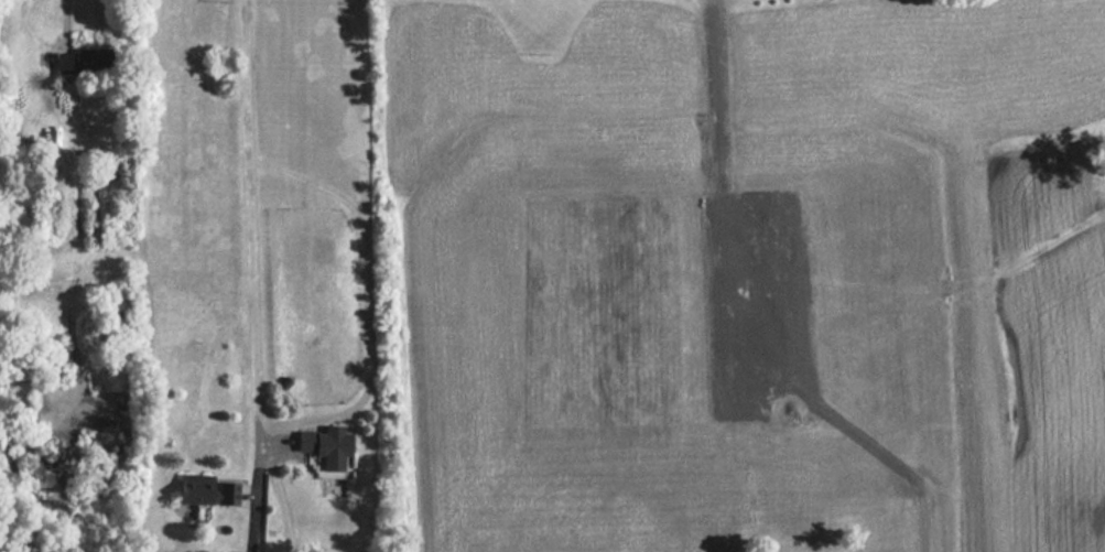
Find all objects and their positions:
road: (63, 22)
building: (80, 62)
road: (248, 226)
road: (365, 297)
building: (59, 364)
building: (328, 445)
building: (209, 489)
road: (253, 501)

